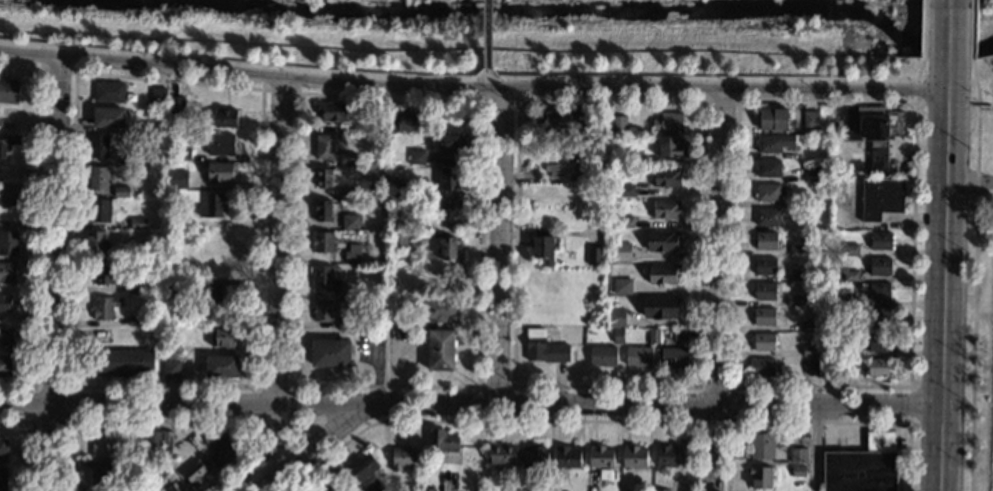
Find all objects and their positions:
river: (575, 11)
road: (923, 29)
road: (971, 30)
road: (487, 34)
road: (945, 35)
park: (981, 35)
park: (498, 37)
road: (919, 68)
road: (56, 71)
road: (486, 74)
road: (975, 81)
road: (471, 87)
building: (8, 91)
building: (109, 92)
road: (278, 92)
building: (159, 96)
road: (488, 103)
road: (719, 103)
road: (933, 103)
building: (177, 105)
building: (331, 111)
building: (108, 117)
building: (225, 118)
building: (771, 120)
building: (810, 121)
building: (404, 122)
building: (667, 123)
building: (617, 125)
building: (574, 126)
building: (879, 134)
building: (8, 144)
building: (773, 144)
building: (220, 145)
building: (448, 145)
building: (98, 146)
building: (323, 147)
building: (668, 147)
building: (182, 155)
building: (416, 158)
building: (348, 159)
building: (127, 160)
building: (767, 170)
building: (219, 173)
building: (811, 175)
building: (324, 178)
building: (97, 179)
building: (666, 179)
building: (178, 180)
building: (448, 180)
road: (968, 181)
building: (398, 189)
building: (123, 192)
building: (348, 192)
building: (625, 192)
building: (767, 193)
building: (11, 194)
building: (879, 199)
building: (213, 207)
building: (448, 209)
building: (665, 210)
building: (323, 211)
building: (100, 212)
building: (766, 217)
building: (348, 222)
building: (398, 222)
building: (625, 223)
road: (36, 224)
building: (137, 225)
building: (188, 240)
building: (95, 241)
building: (397, 241)
building: (662, 242)
building: (765, 242)
building: (322, 243)
building: (880, 243)
building: (8, 244)
road: (497, 246)
building: (543, 249)
building: (448, 250)
building: (796, 251)
building: (849, 251)
building: (213, 253)
building: (621, 253)
building: (352, 255)
building: (594, 257)
building: (764, 267)
building: (880, 267)
building: (7, 273)
building: (107, 273)
road: (55, 275)
building: (662, 275)
building: (796, 276)
building: (849, 276)
road: (275, 277)
building: (324, 280)
road: (942, 281)
building: (172, 286)
building: (621, 287)
building: (135, 288)
road: (718, 291)
building: (212, 292)
building: (764, 292)
building: (879, 292)
road: (973, 297)
building: (792, 301)
building: (849, 303)
building: (5, 304)
building: (341, 304)
building: (392, 306)
building: (104, 308)
building: (659, 308)
building: (439, 309)
building: (322, 311)
building: (878, 317)
building: (615, 318)
building: (763, 318)
building: (135, 320)
building: (809, 326)
building: (5, 336)
building: (617, 336)
building: (679, 336)
building: (653, 337)
building: (223, 338)
building: (763, 343)
building: (876, 343)
building: (543, 348)
building: (172, 350)
building: (440, 351)
building: (809, 352)
building: (330, 354)
building: (602, 357)
building: (638, 358)
building: (673, 359)
building: (121, 363)
building: (4, 366)
building: (221, 367)
building: (762, 368)
building: (809, 368)
building: (827, 368)
building: (877, 368)
building: (171, 370)
road: (909, 385)
road: (472, 386)
road: (512, 386)
road: (697, 386)
road: (247, 387)
road: (470, 404)
road: (908, 404)
road: (289, 421)
road: (514, 421)
road: (730, 421)
road: (67, 422)
road: (165, 422)
road: (341, 422)
road: (818, 422)
road: (304, 431)
building: (166, 438)
building: (151, 439)
road: (31, 440)
building: (441, 441)
building: (102, 444)
building: (764, 447)
road: (816, 447)
road: (308, 448)
building: (218, 449)
building: (3, 450)
building: (165, 451)
road: (278, 452)
building: (501, 456)
building: (796, 456)
building: (567, 457)
building: (600, 457)
building: (665, 457)
building: (533, 458)
building: (633, 458)
building: (402, 459)
road: (336, 465)
building: (130, 466)
building: (863, 466)
building: (362, 467)
building: (160, 469)
building: (797, 473)
building: (196, 474)
building: (99, 476)
building: (759, 478)
building: (3, 479)
building: (374, 486)
building: (130, 488)
building: (168, 488)
building: (329, 489)
building: (425, 490)
building: (510, 490)
building: (545, 490)
building: (662, 490)

